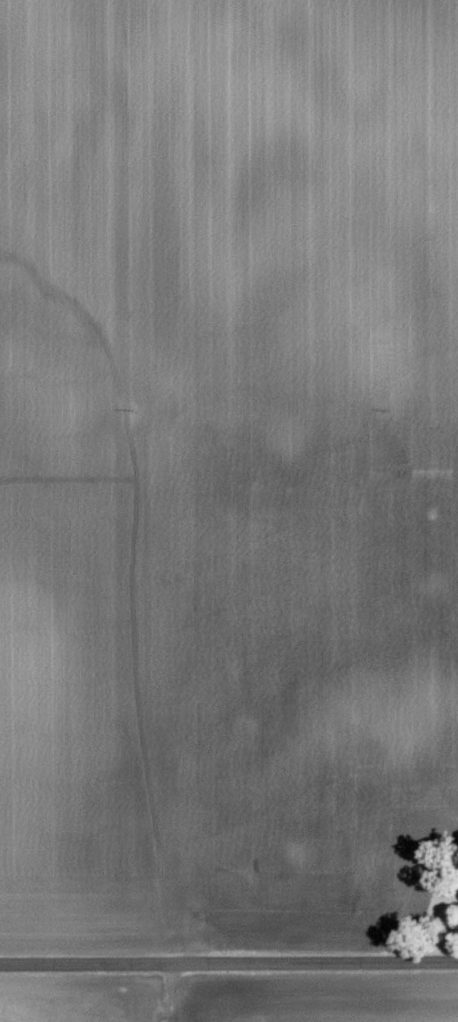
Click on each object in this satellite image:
road: (229, 962)

